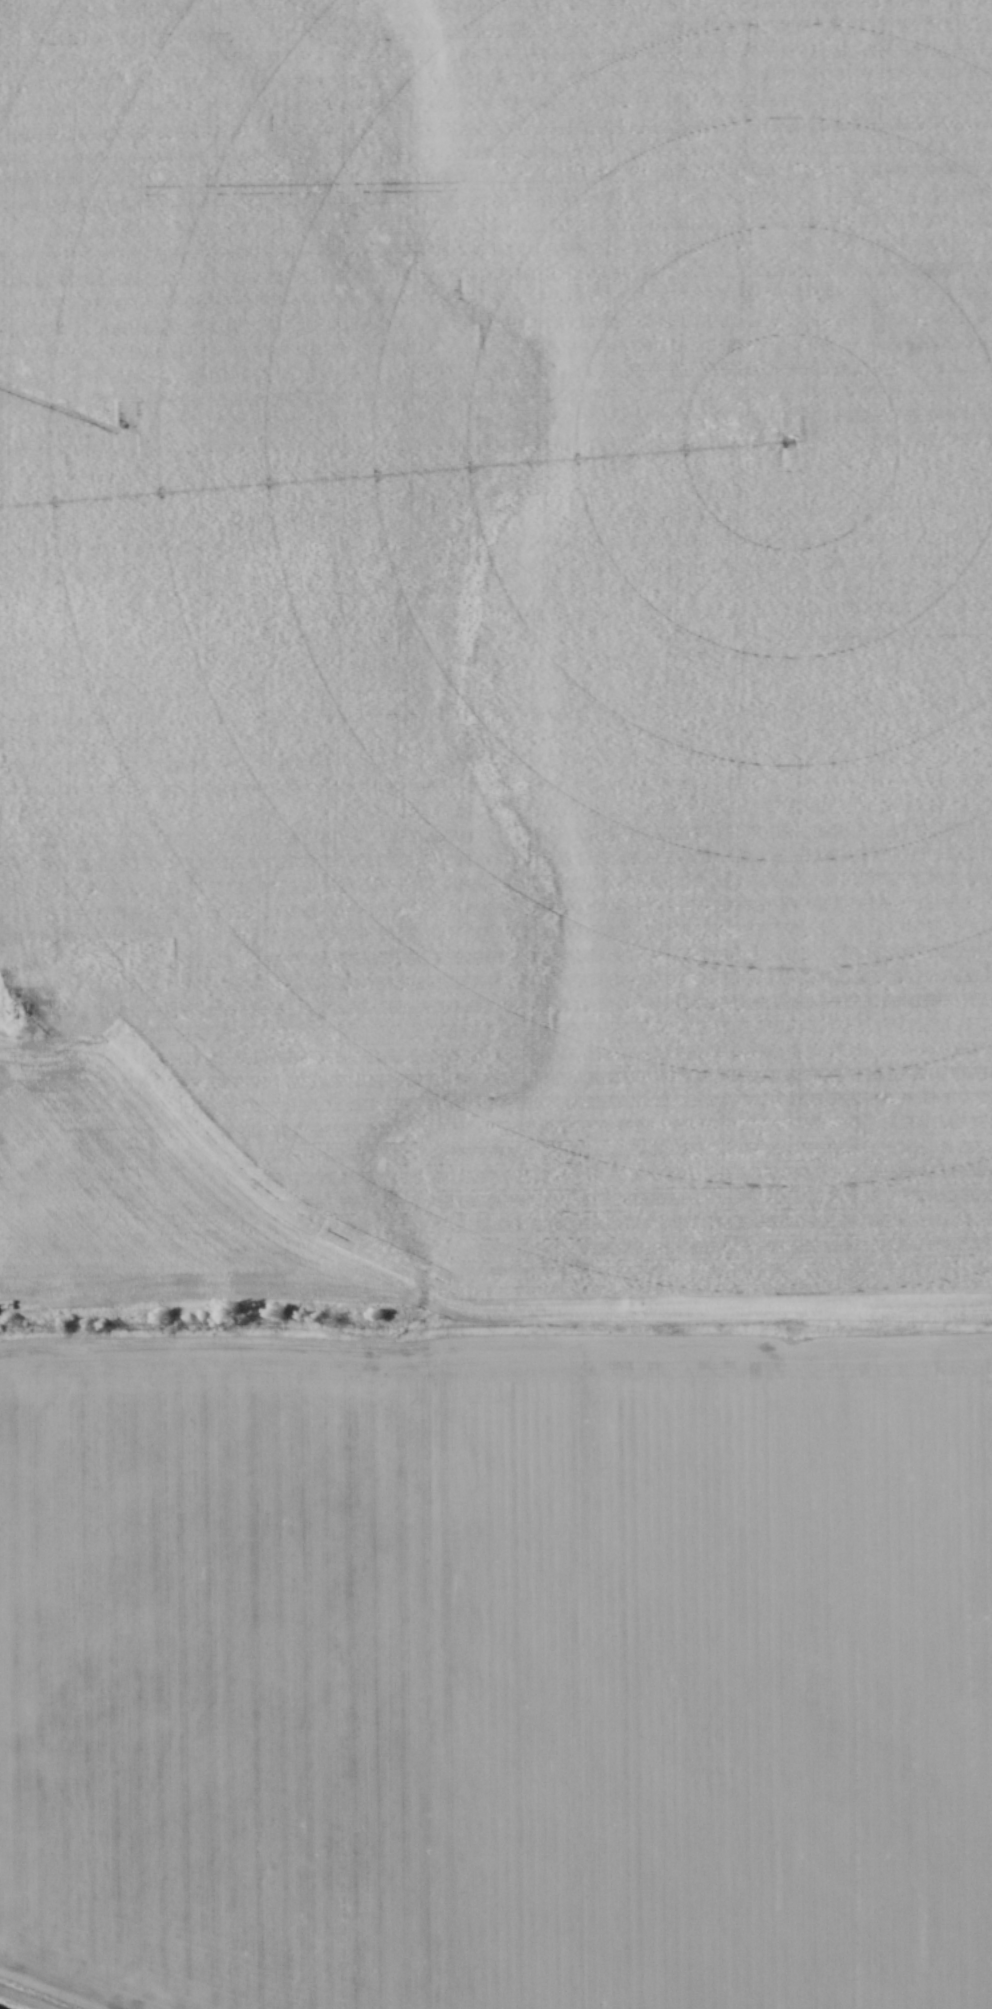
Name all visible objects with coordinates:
crop: (498, 1000)
building: (260, 1308)

